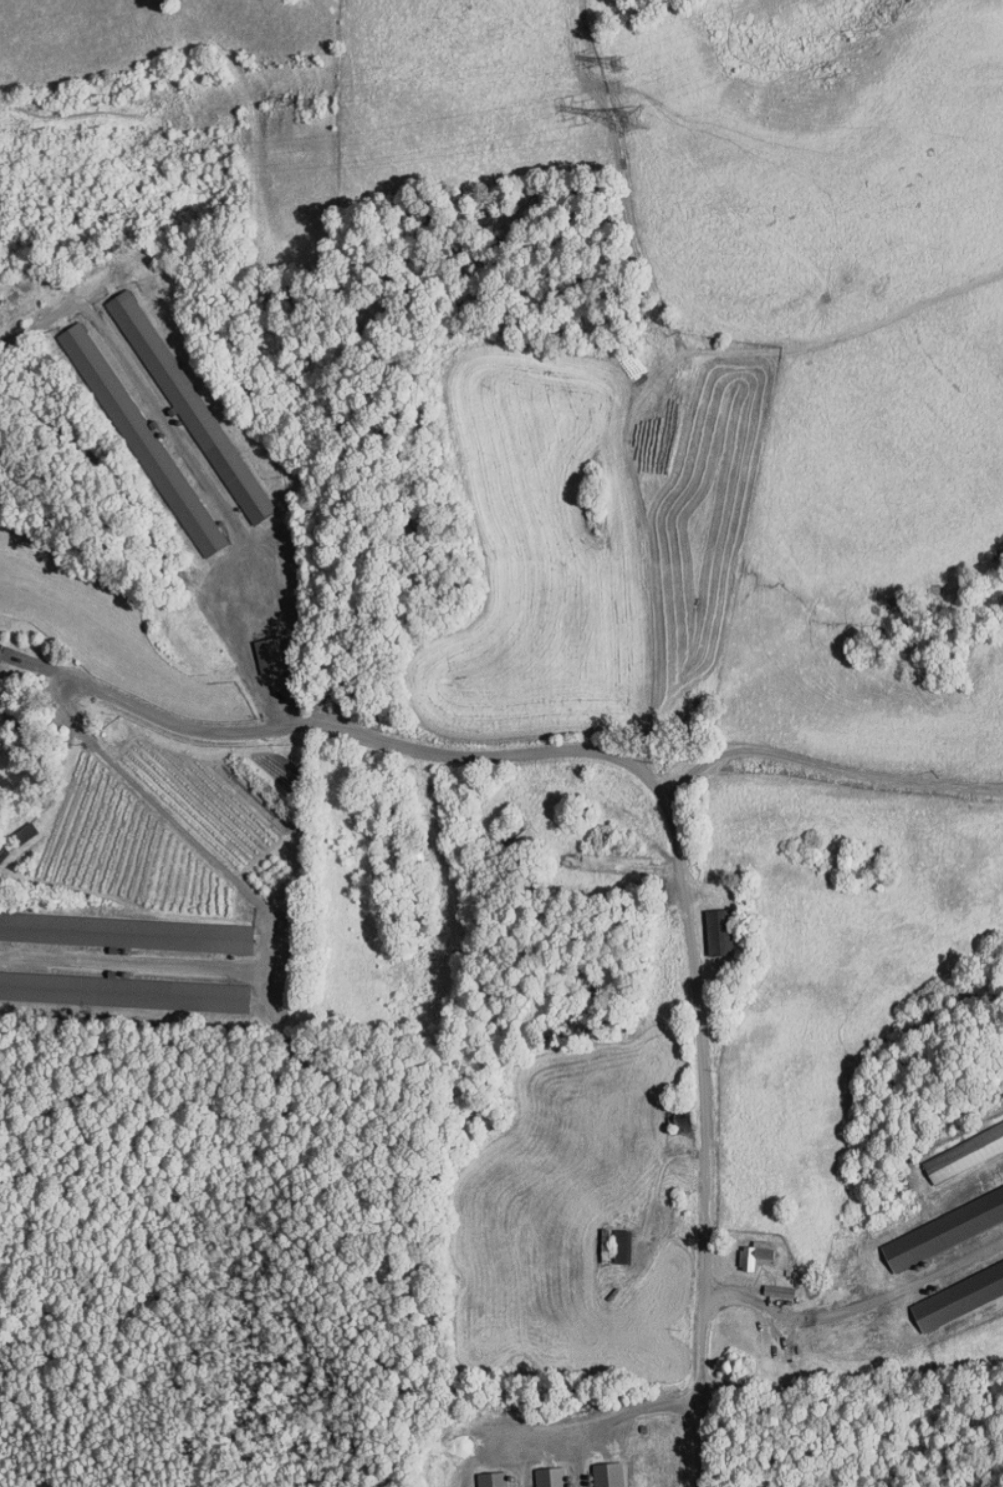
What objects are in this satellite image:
power tower: (615, 65)
power tower: (304, 104)
power tower: (629, 116)
building: (177, 399)
building: (135, 439)
road: (171, 719)
road: (626, 763)
building: (703, 925)
building: (123, 927)
building: (119, 986)
road: (702, 1144)
building: (935, 1218)
building: (609, 1239)
building: (744, 1248)
building: (950, 1284)
building: (765, 1285)
road: (816, 1316)
road: (593, 1429)
building: (597, 1471)
building: (539, 1474)
building: (481, 1476)

